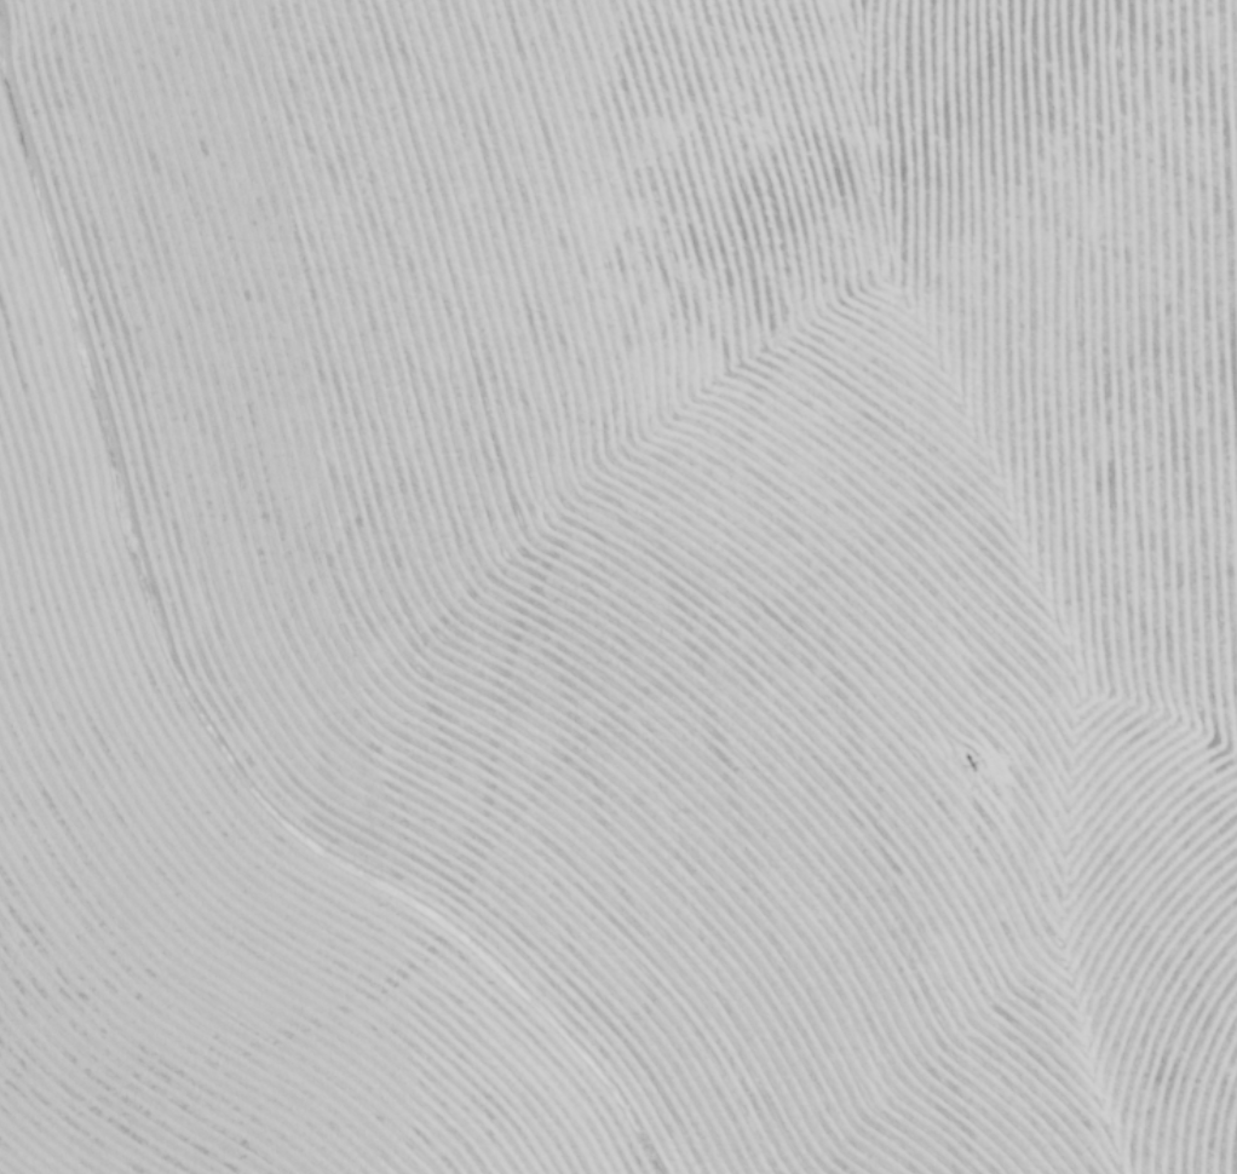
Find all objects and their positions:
crop: (618, 587)

